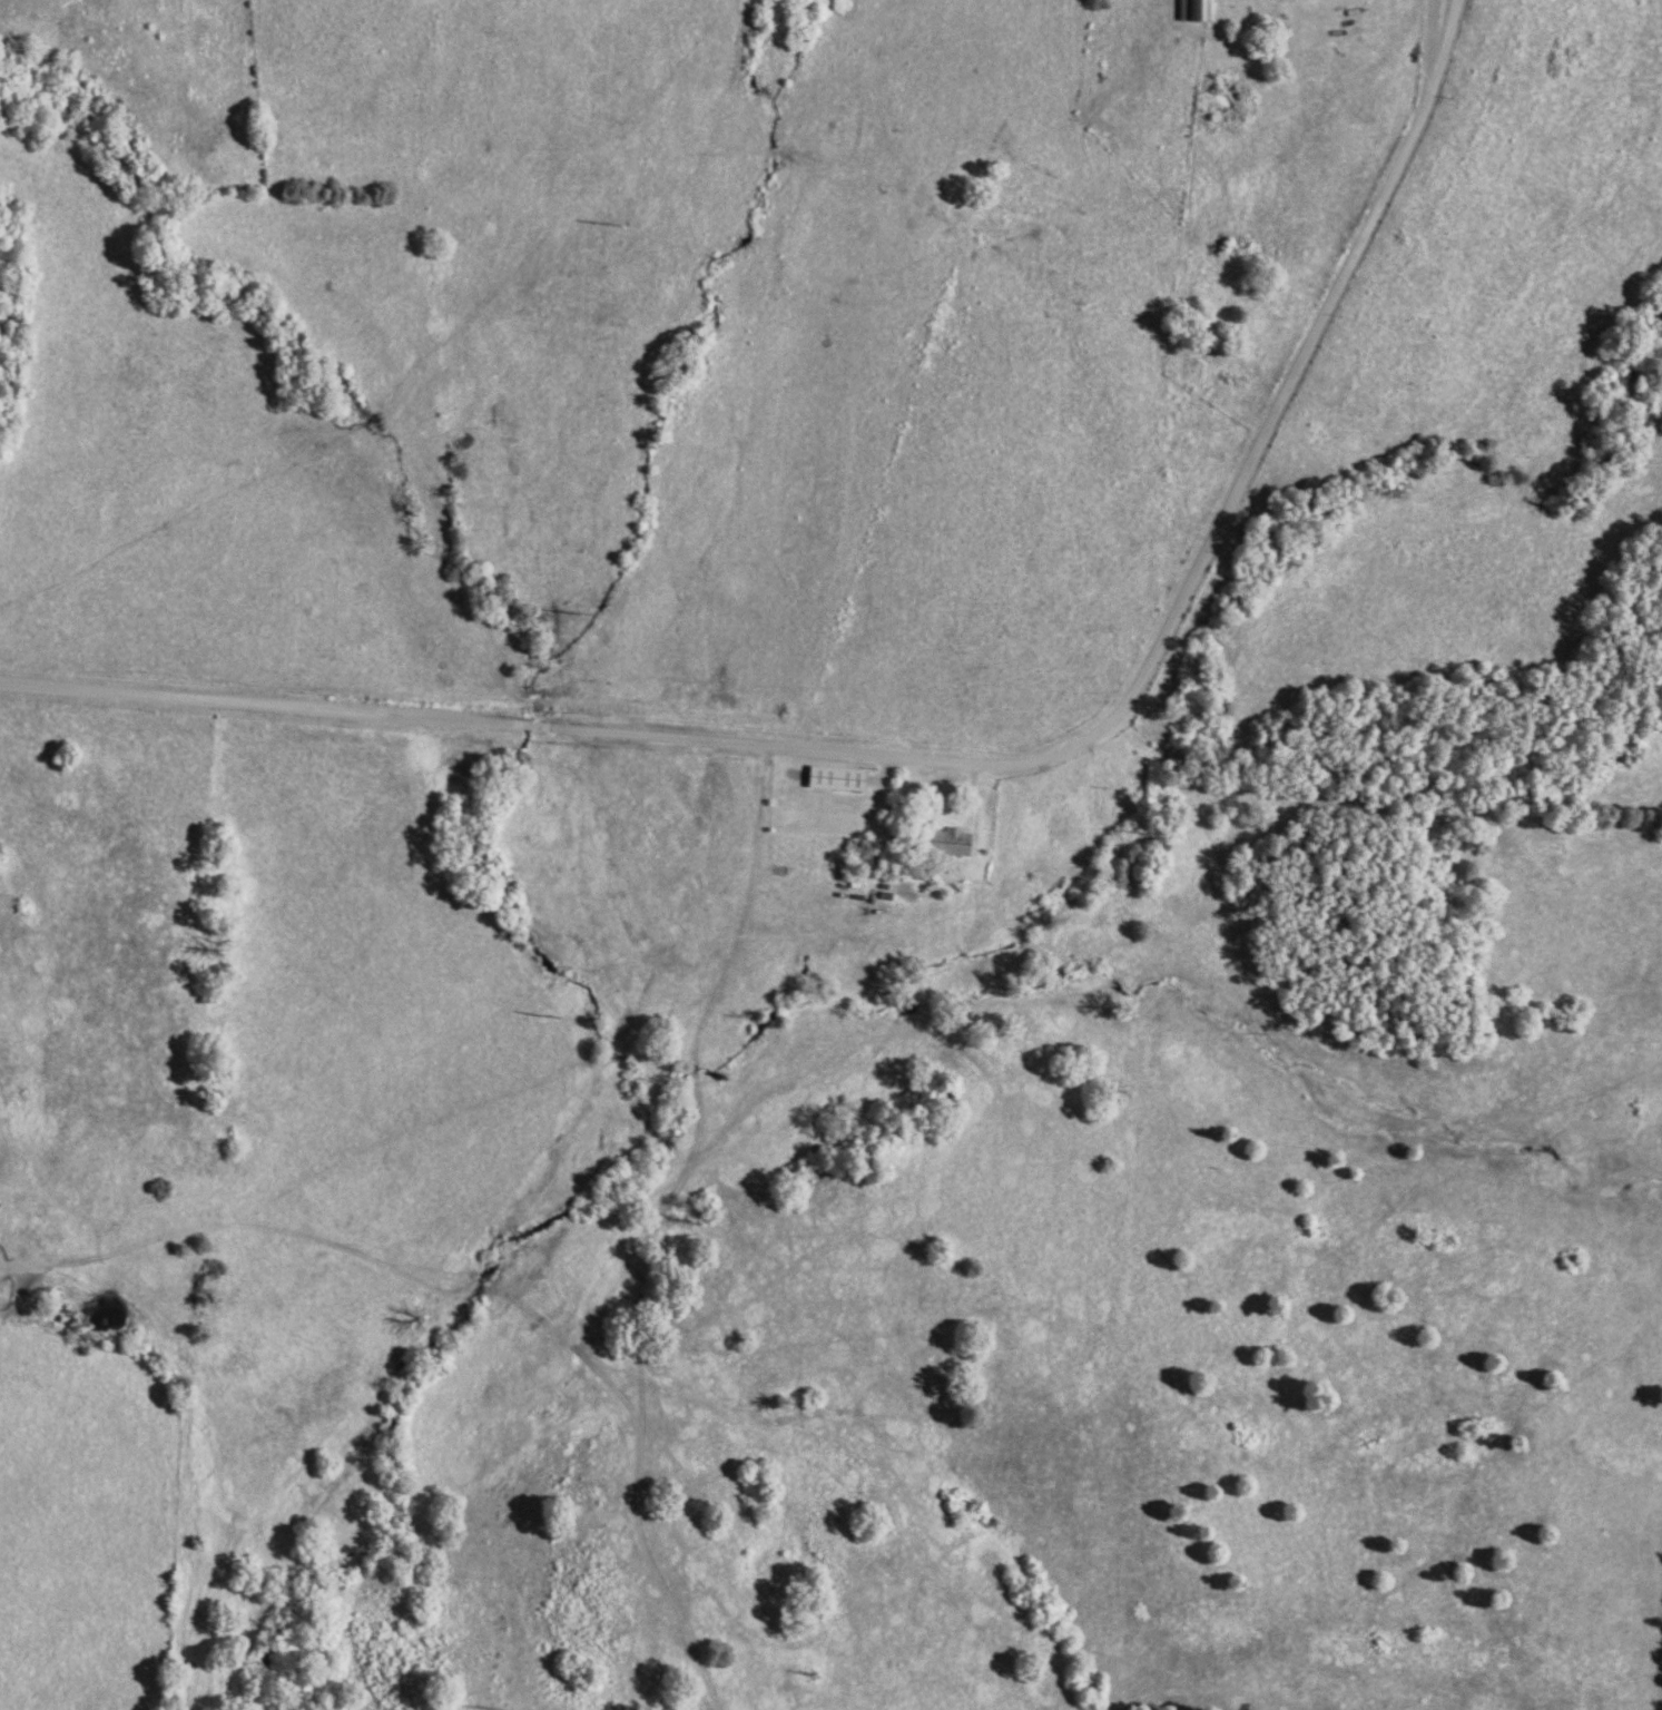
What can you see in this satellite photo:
road: (958, 761)
building: (832, 777)

